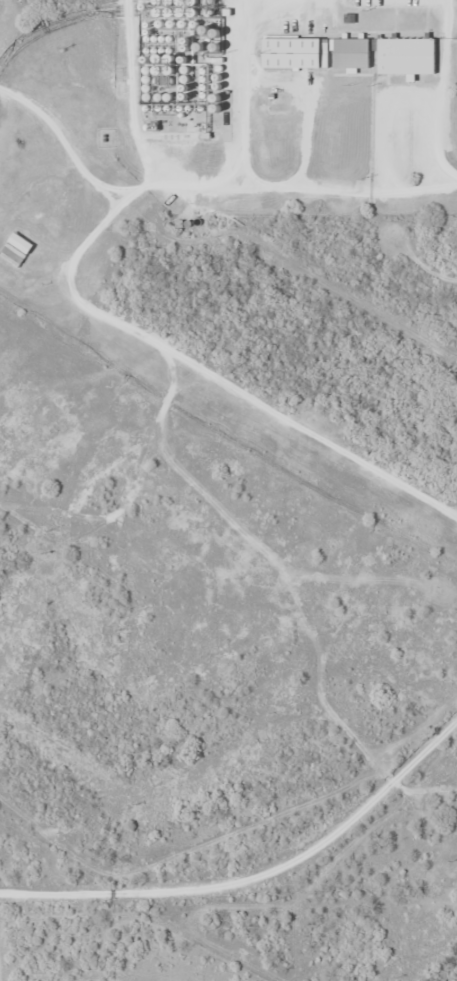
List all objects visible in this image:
building: (296, 52)
building: (352, 52)
building: (407, 55)
building: (16, 249)
road: (257, 864)

